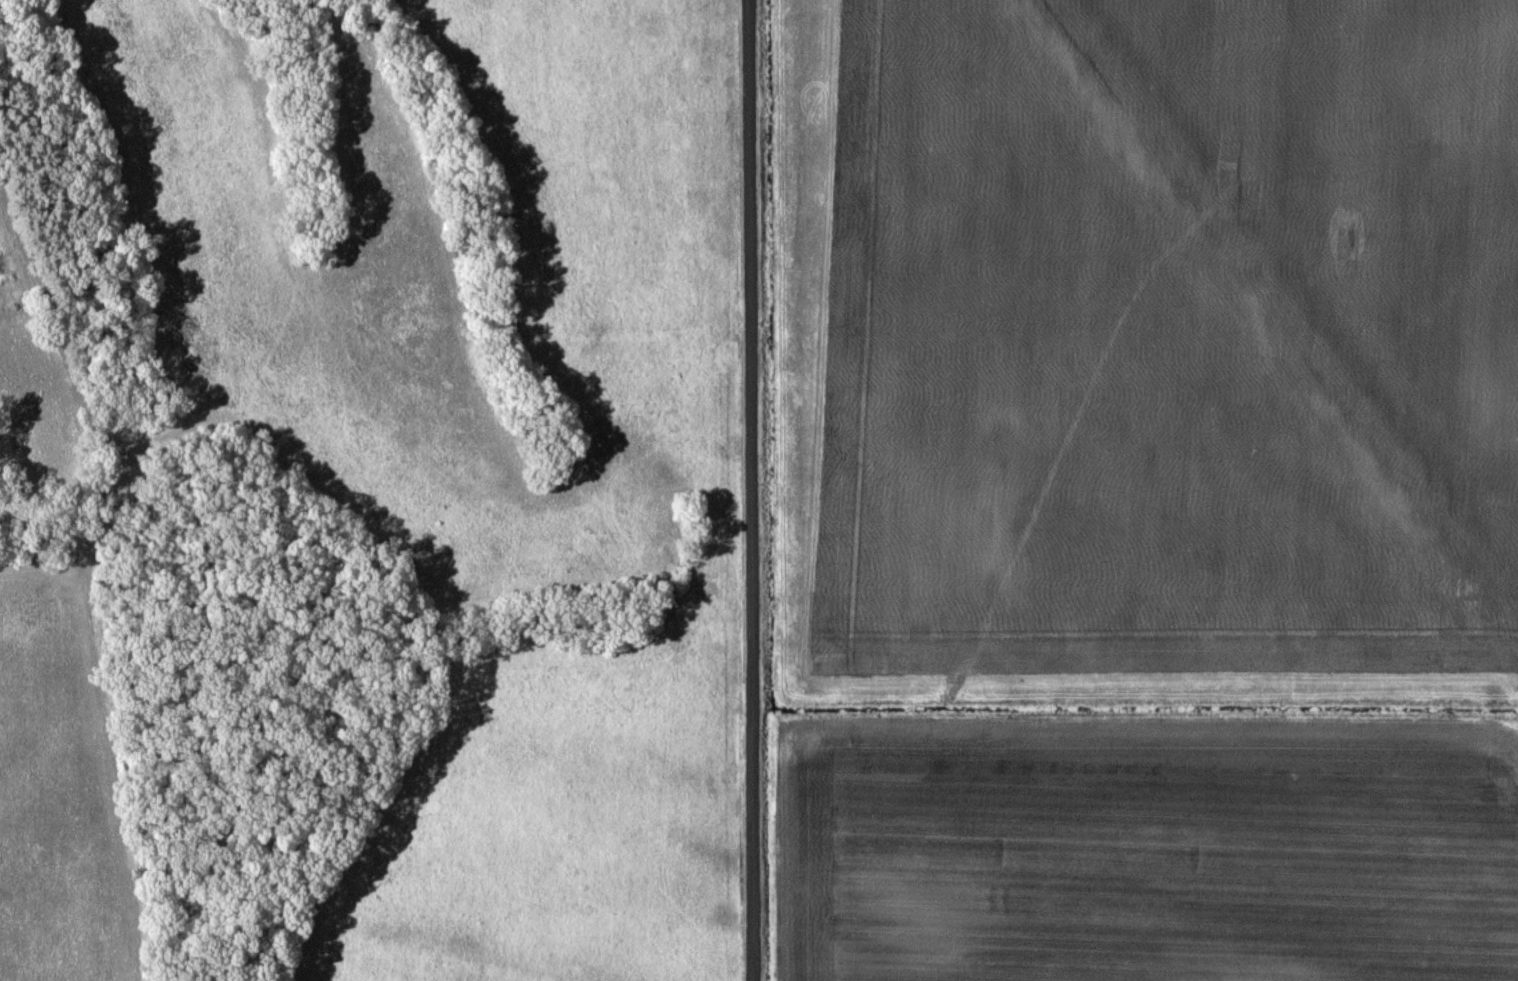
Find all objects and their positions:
road: (749, 490)

